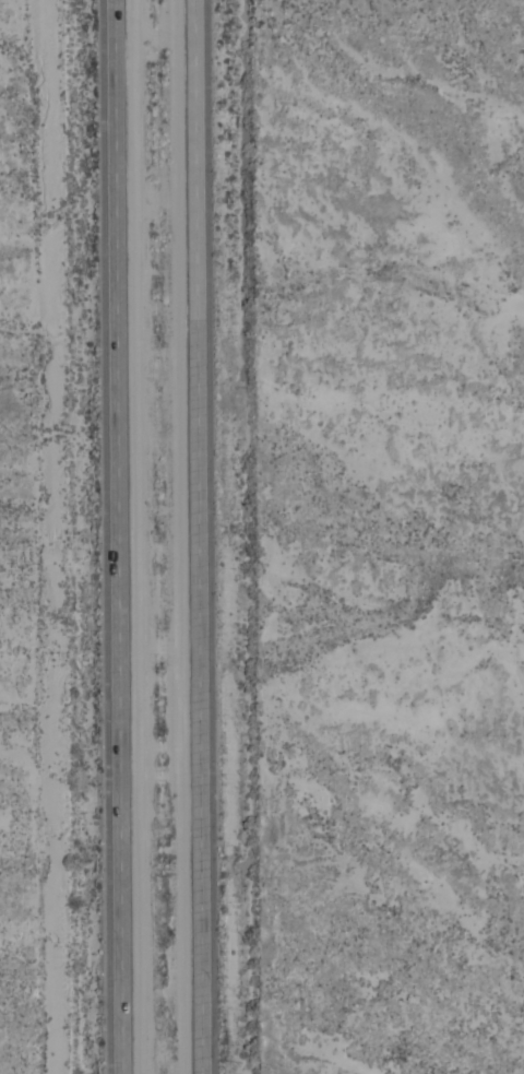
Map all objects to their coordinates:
road: (118, 536)
road: (195, 536)

